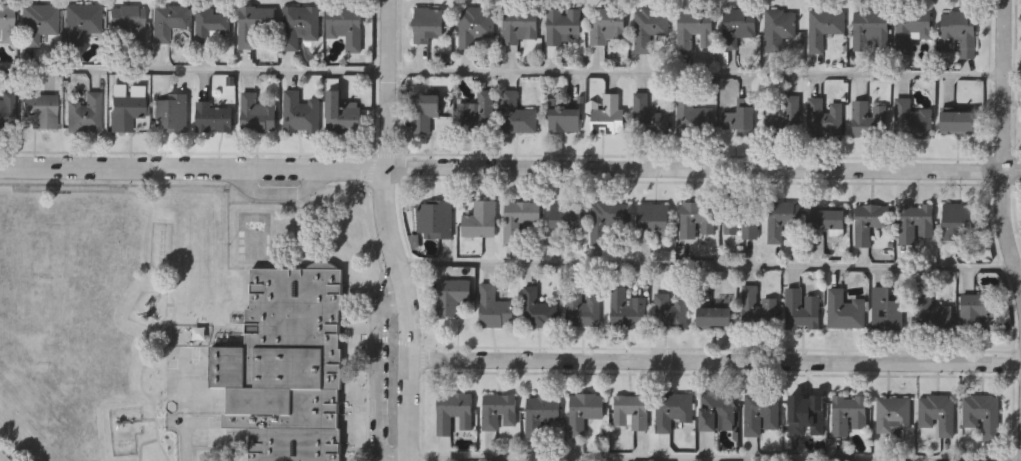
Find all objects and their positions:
building: (169, 20)
building: (39, 21)
building: (81, 21)
building: (126, 21)
building: (6, 22)
building: (212, 23)
building: (256, 23)
building: (429, 23)
building: (300, 24)
building: (476, 24)
building: (563, 24)
building: (346, 25)
building: (608, 25)
building: (520, 26)
building: (738, 26)
building: (650, 28)
building: (695, 28)
building: (826, 28)
building: (871, 28)
building: (912, 29)
building: (780, 30)
building: (959, 32)
road: (510, 74)
building: (6, 110)
building: (40, 110)
building: (125, 111)
building: (425, 111)
building: (478, 111)
building: (85, 112)
building: (172, 112)
building: (301, 112)
building: (257, 113)
building: (343, 113)
building: (517, 113)
building: (608, 115)
building: (213, 116)
building: (649, 117)
building: (738, 117)
building: (565, 118)
building: (692, 118)
building: (825, 118)
building: (865, 118)
building: (786, 119)
building: (913, 119)
building: (958, 122)
road: (1003, 145)
road: (510, 166)
building: (611, 213)
building: (567, 215)
building: (654, 216)
building: (436, 218)
building: (519, 218)
building: (783, 218)
building: (827, 218)
building: (481, 219)
building: (742, 219)
building: (698, 220)
building: (958, 220)
building: (868, 221)
building: (916, 222)
road: (390, 231)
road: (711, 267)
building: (452, 295)
building: (494, 308)
building: (583, 309)
building: (627, 309)
building: (758, 309)
building: (538, 310)
building: (803, 310)
building: (846, 310)
building: (887, 310)
building: (932, 310)
building: (976, 310)
building: (670, 311)
building: (714, 317)
road: (715, 361)
building: (287, 365)
road: (370, 369)
building: (673, 410)
building: (500, 411)
building: (585, 411)
building: (632, 411)
building: (718, 411)
building: (454, 412)
building: (541, 412)
building: (762, 413)
building: (894, 413)
building: (807, 414)
building: (849, 414)
building: (938, 414)
building: (983, 414)
road: (3, 458)
road: (656, 459)

